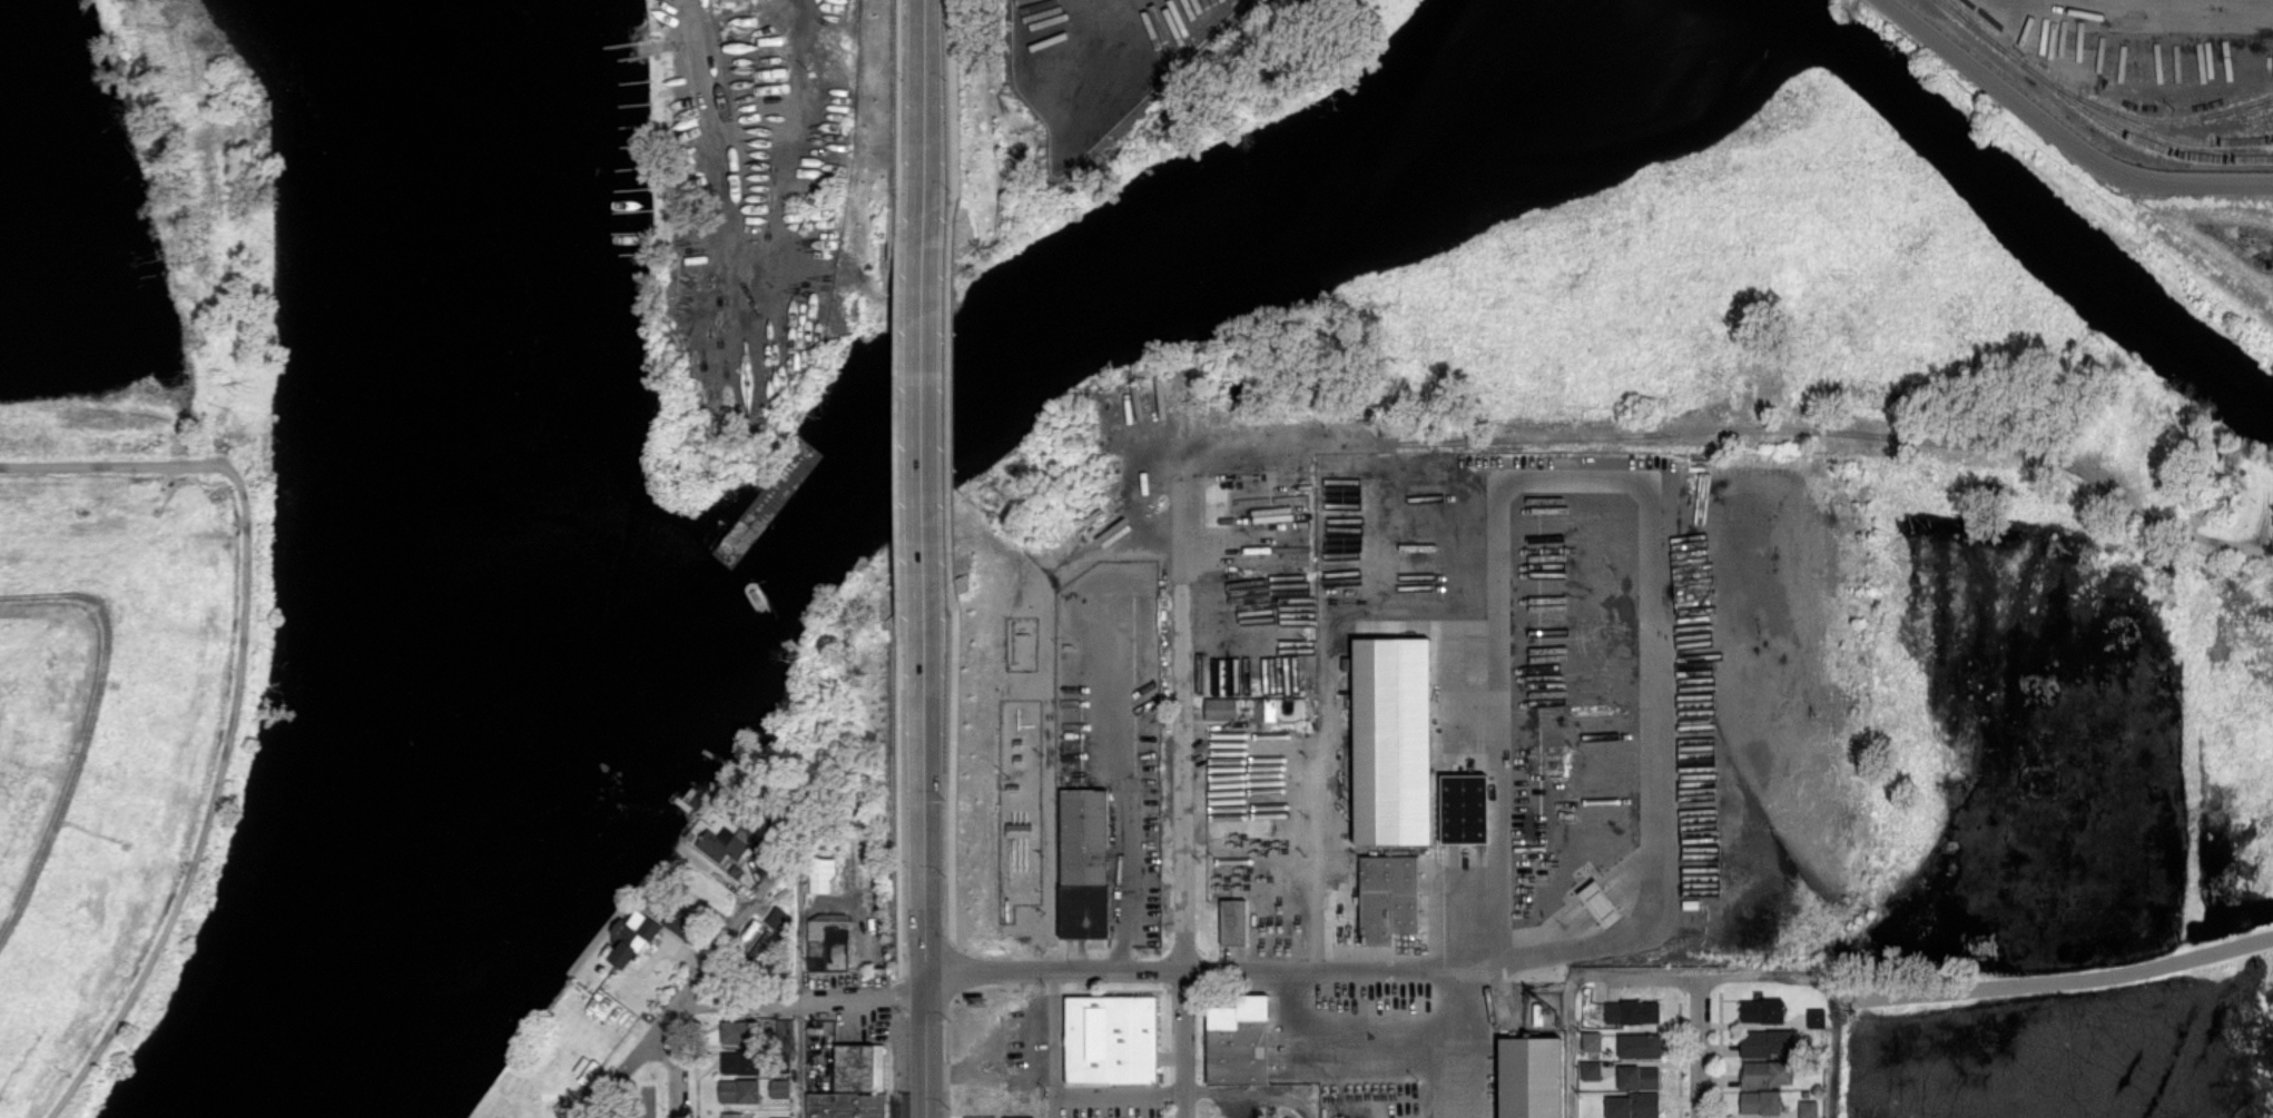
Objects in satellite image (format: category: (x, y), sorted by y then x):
railway: (1976, 24)
river: (1526, 100)
road: (924, 103)
railway: (2236, 109)
railway: (2089, 113)
railway: (2143, 117)
railway: (2171, 136)
railway: (2241, 137)
road: (2062, 138)
road: (744, 180)
road: (1646, 487)
road: (925, 502)
river: (455, 566)
river: (450, 576)
road: (238, 699)
building: (1254, 709)
road: (1326, 714)
landfill: (119, 730)
road: (92, 732)
building: (1393, 741)
road: (1182, 803)
building: (1464, 808)
building: (1019, 829)
building: (718, 847)
building: (1084, 863)
building: (823, 874)
building: (1387, 897)
building: (1600, 903)
building: (778, 918)
building: (1233, 921)
building: (630, 937)
building: (828, 941)
building: (761, 943)
road: (927, 957)
road: (1325, 967)
road: (1072, 971)
road: (1703, 977)
road: (693, 978)
road: (797, 979)
road: (2056, 980)
road: (801, 1000)
building: (1761, 1010)
building: (1632, 1011)
building: (1816, 1018)
building: (785, 1027)
building: (736, 1031)
road: (1335, 1031)
building: (1110, 1038)
building: (1238, 1039)
building: (1591, 1040)
road: (1430, 1041)
building: (1767, 1042)
road: (1052, 1045)
building: (1640, 1045)
road: (1700, 1047)
road: (1571, 1048)
road: (1836, 1048)
road: (677, 1059)
building: (740, 1062)
building: (859, 1067)
building: (1591, 1070)
building: (1767, 1072)
building: (1529, 1077)
building: (1639, 1077)
building: (780, 1088)
building: (739, 1090)
road: (1119, 1090)
road: (1251, 1097)
building: (1760, 1101)
building: (846, 1105)
building: (1632, 1106)
building: (1808, 1108)
building: (731, 1115)
building: (780, 1117)

